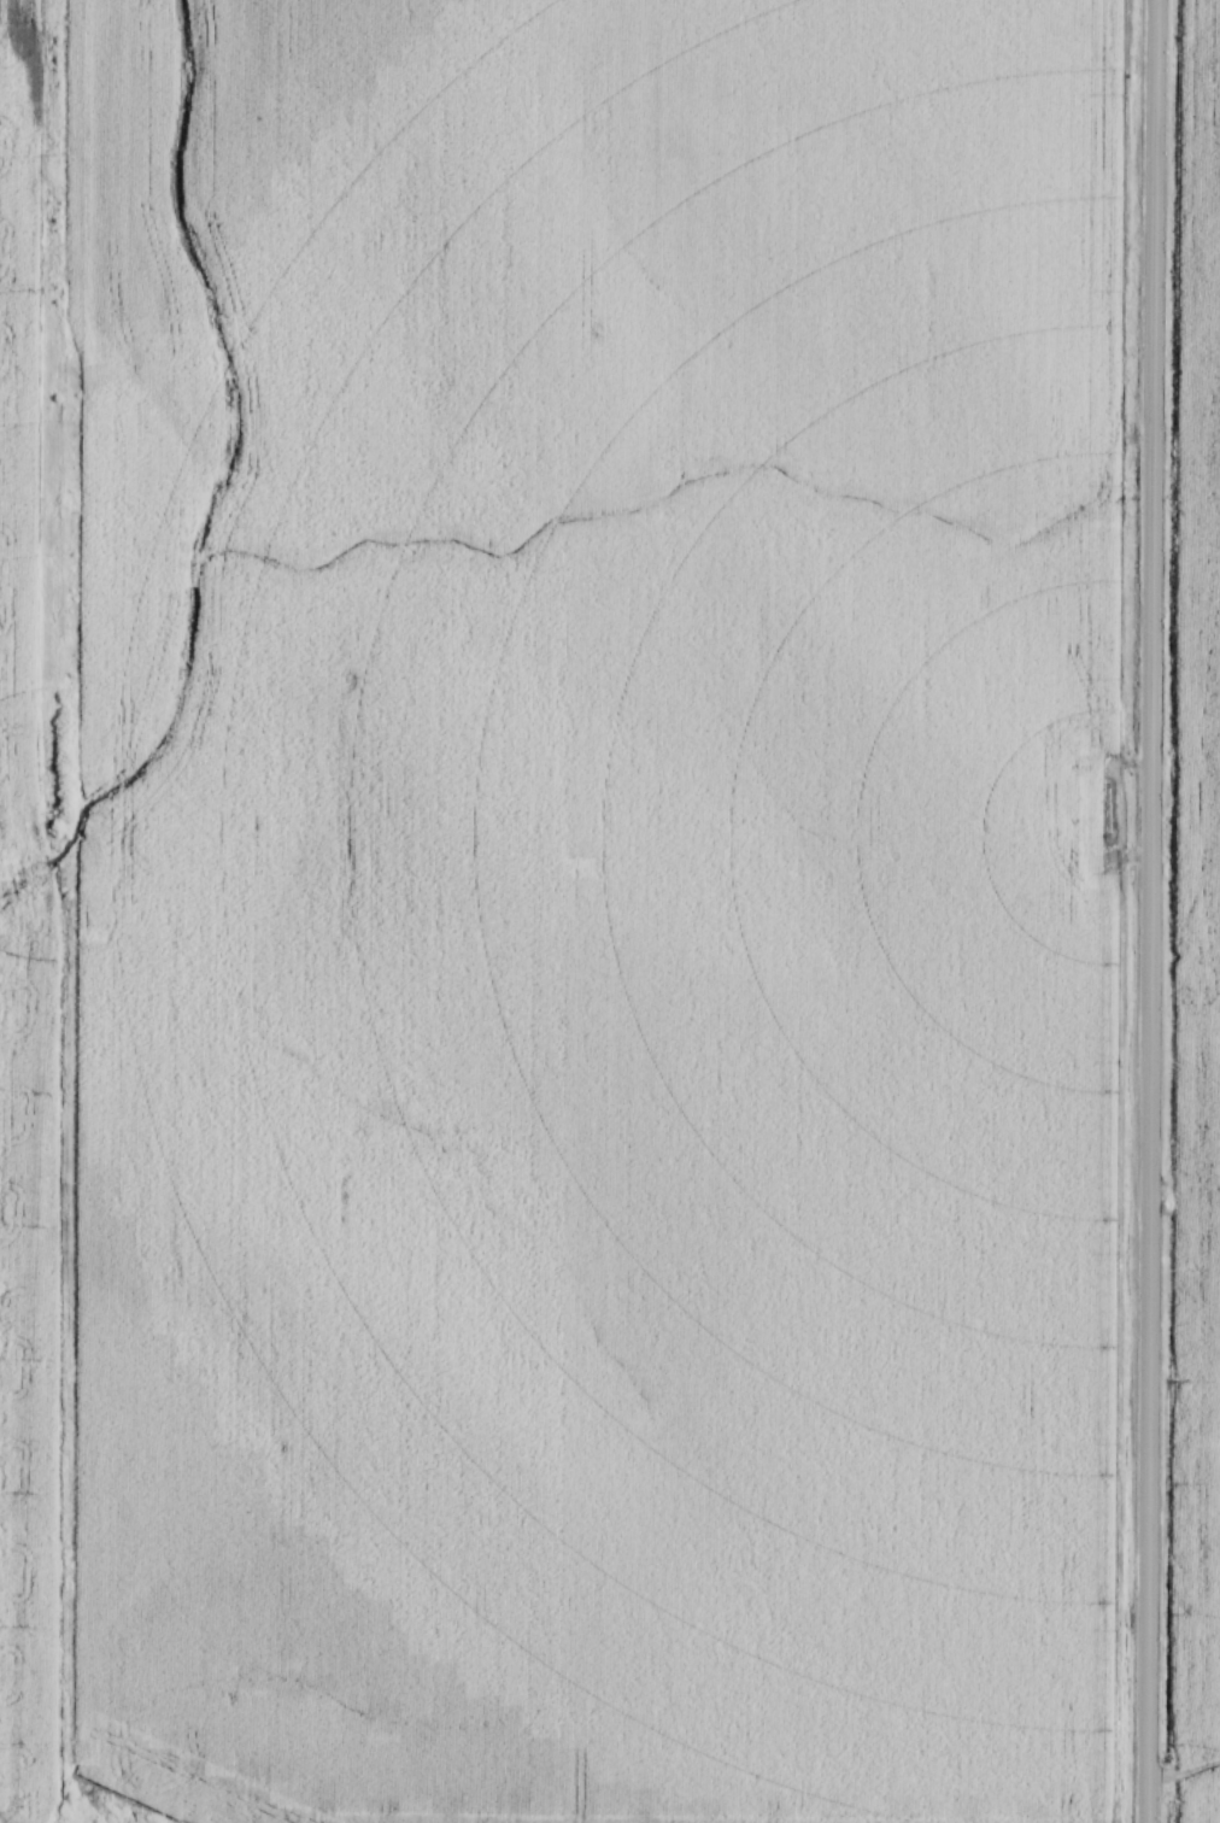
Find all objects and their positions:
road: (1148, 910)

